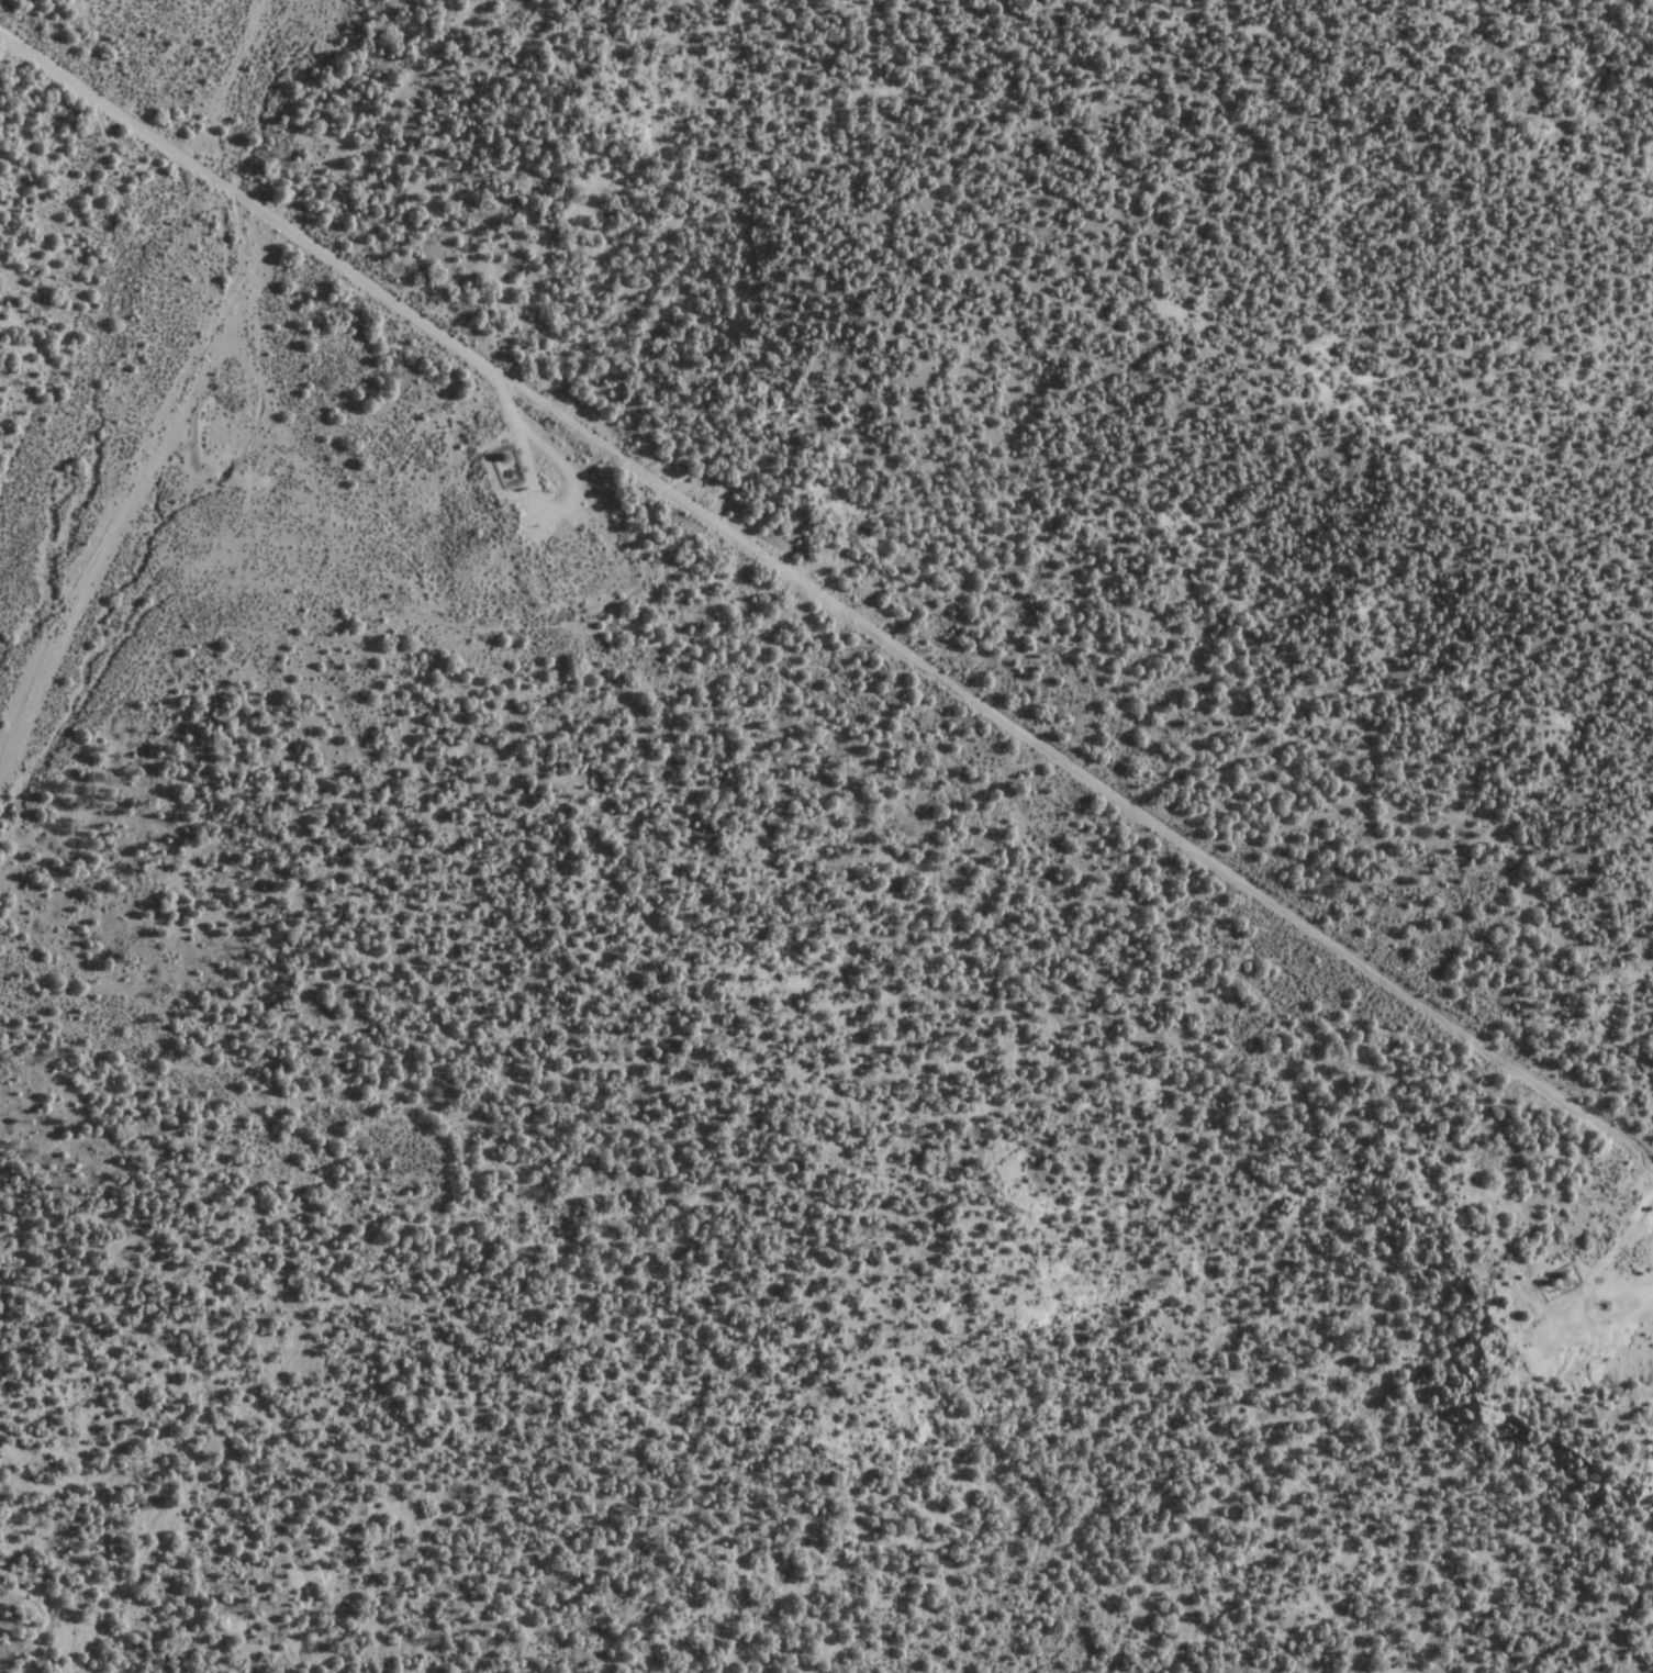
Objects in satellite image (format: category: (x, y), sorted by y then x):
road: (846, 620)

